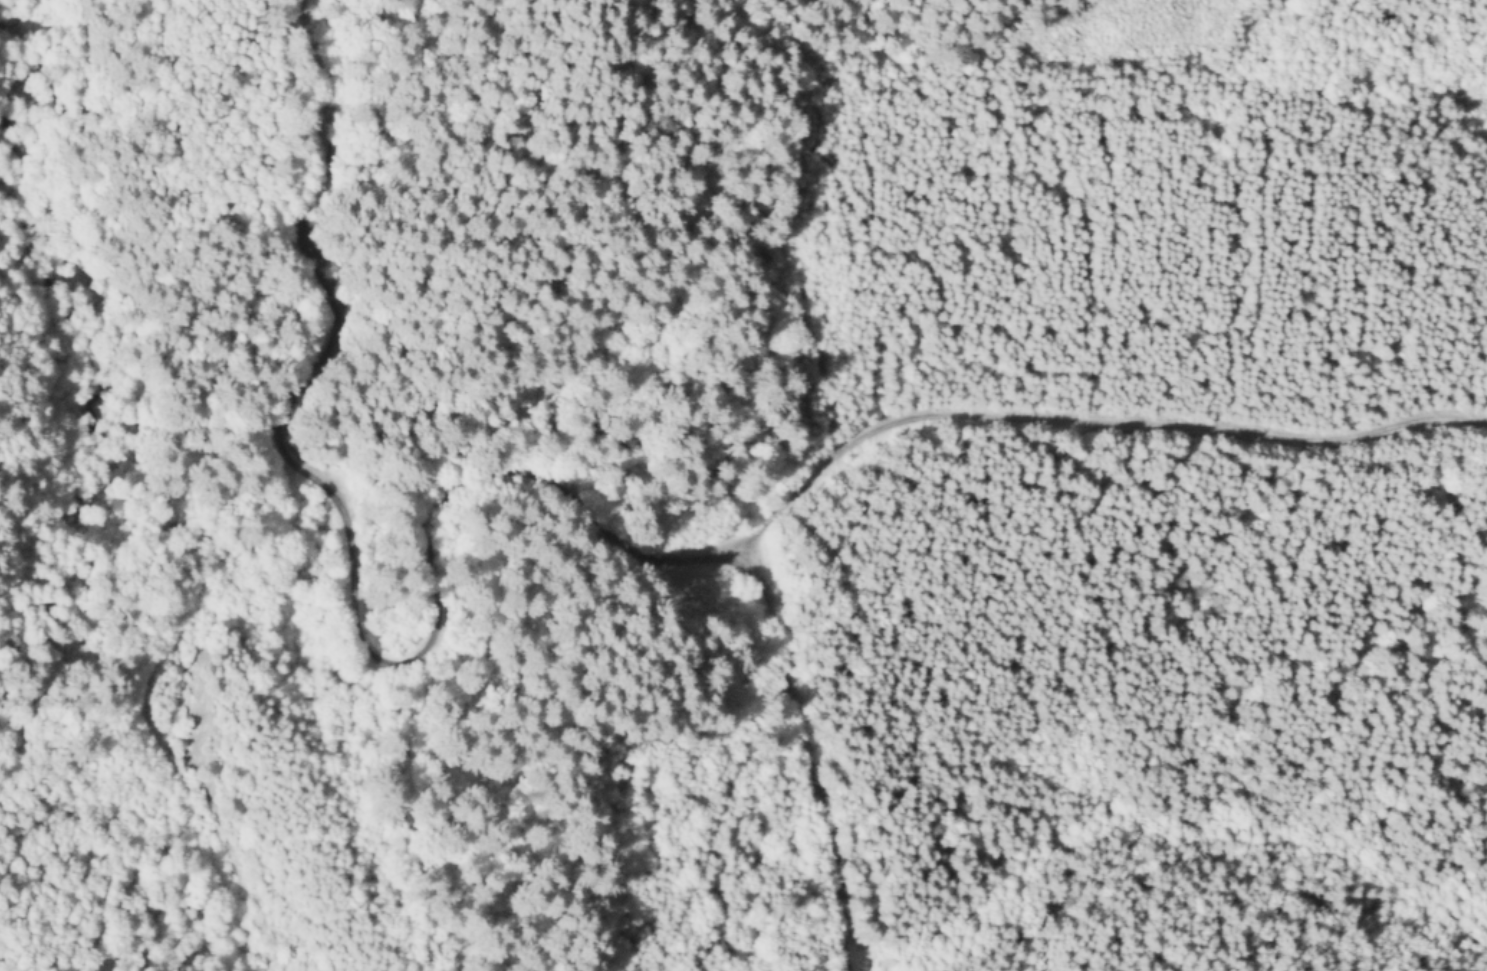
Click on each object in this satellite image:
road: (882, 425)
road: (676, 559)

